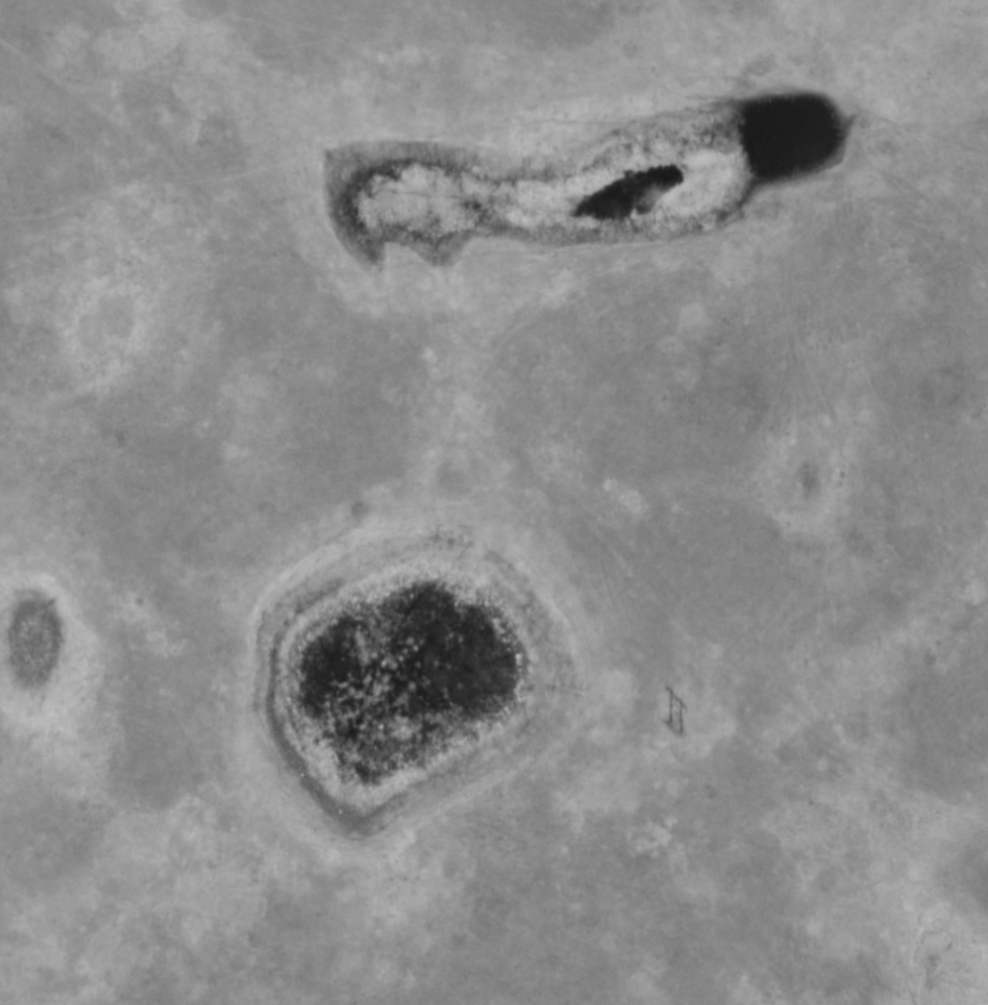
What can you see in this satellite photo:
power tower: (675, 725)

